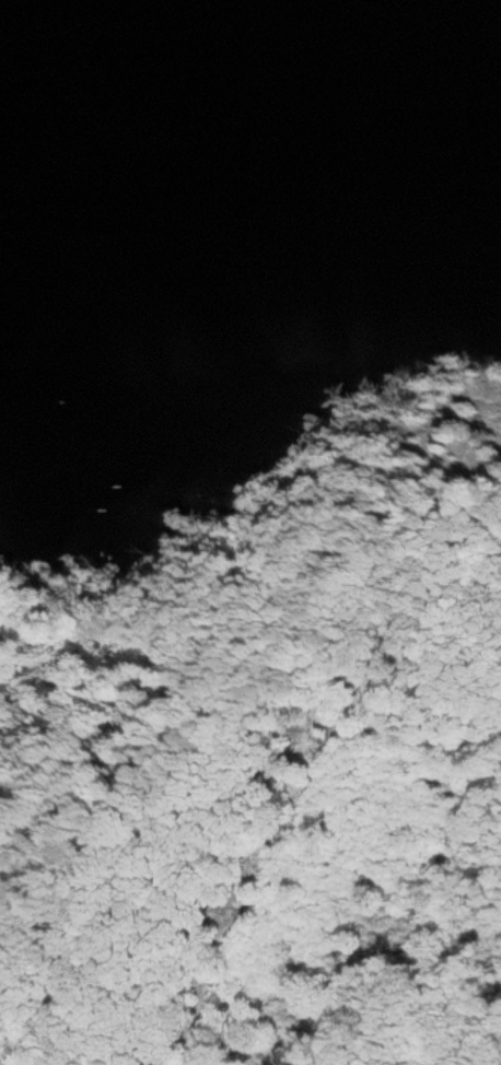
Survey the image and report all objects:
river: (145, 85)
park: (268, 752)

